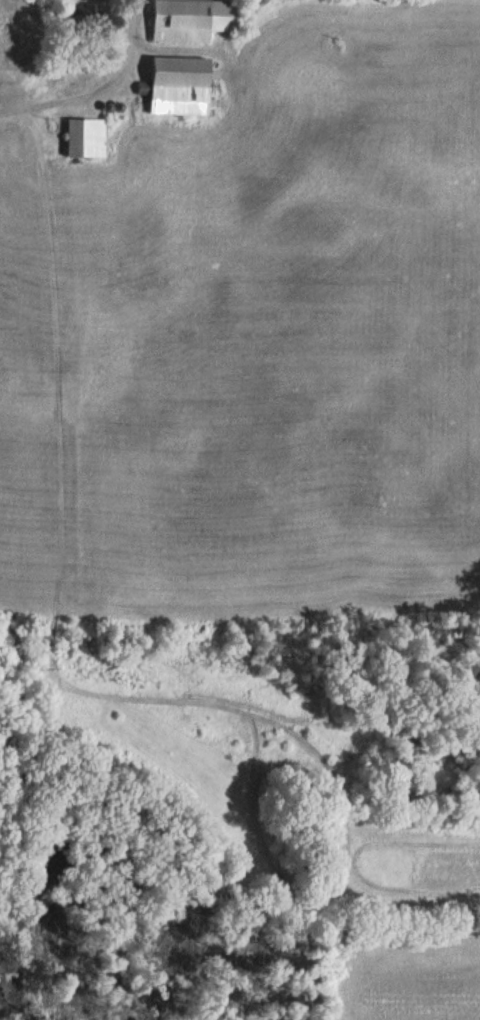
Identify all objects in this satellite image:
building: (88, 11)
building: (199, 20)
building: (182, 86)
building: (89, 138)

